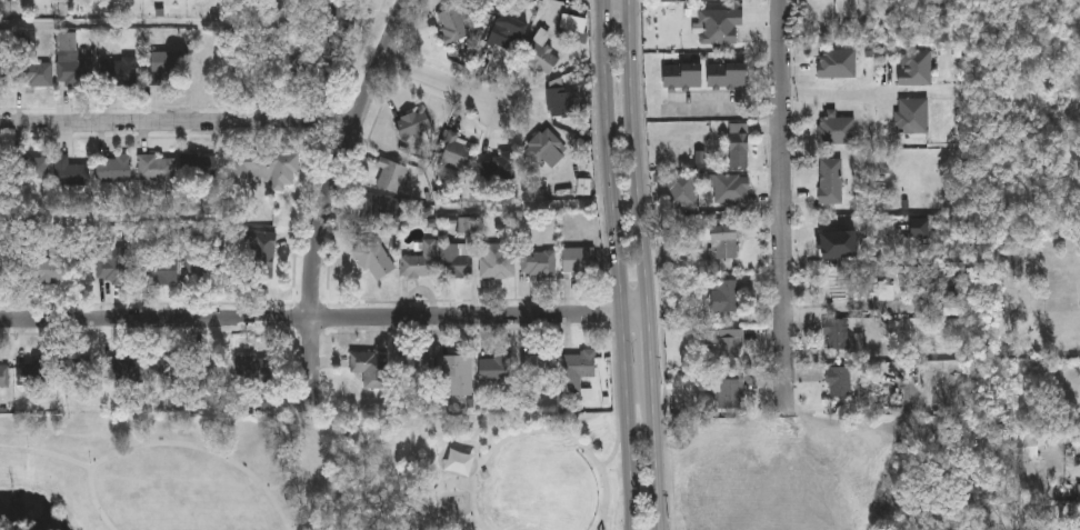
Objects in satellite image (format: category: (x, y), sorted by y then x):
building: (343, 19)
building: (574, 21)
building: (453, 27)
building: (506, 39)
building: (542, 59)
building: (838, 62)
building: (169, 64)
building: (917, 66)
building: (251, 68)
building: (73, 72)
building: (122, 73)
building: (683, 74)
building: (37, 76)
building: (729, 76)
road: (440, 81)
road: (837, 92)
building: (562, 103)
road: (726, 113)
building: (913, 116)
road: (179, 122)
building: (414, 126)
building: (837, 129)
building: (739, 143)
building: (543, 149)
building: (456, 154)
road: (638, 157)
building: (32, 170)
building: (499, 170)
building: (114, 171)
building: (157, 171)
building: (202, 171)
building: (276, 171)
building: (71, 174)
building: (391, 177)
building: (831, 179)
building: (730, 187)
building: (682, 189)
road: (328, 199)
road: (786, 208)
building: (381, 210)
building: (833, 244)
building: (727, 247)
building: (374, 260)
building: (498, 262)
building: (580, 262)
building: (1013, 262)
building: (422, 263)
road: (621, 264)
building: (539, 266)
building: (198, 267)
building: (6, 269)
building: (116, 269)
building: (47, 272)
building: (163, 273)
building: (841, 286)
building: (726, 294)
road: (326, 317)
building: (837, 332)
road: (652, 343)
building: (730, 344)
building: (413, 368)
building: (540, 368)
building: (81, 369)
building: (124, 369)
building: (498, 369)
building: (580, 369)
building: (170, 371)
building: (254, 371)
building: (371, 371)
building: (34, 372)
building: (2, 374)
building: (458, 377)
building: (839, 381)
building: (731, 392)
road: (538, 432)
road: (172, 443)
road: (616, 446)
road: (288, 452)
road: (658, 452)
road: (47, 453)
building: (460, 464)
park: (310, 472)
road: (421, 508)

